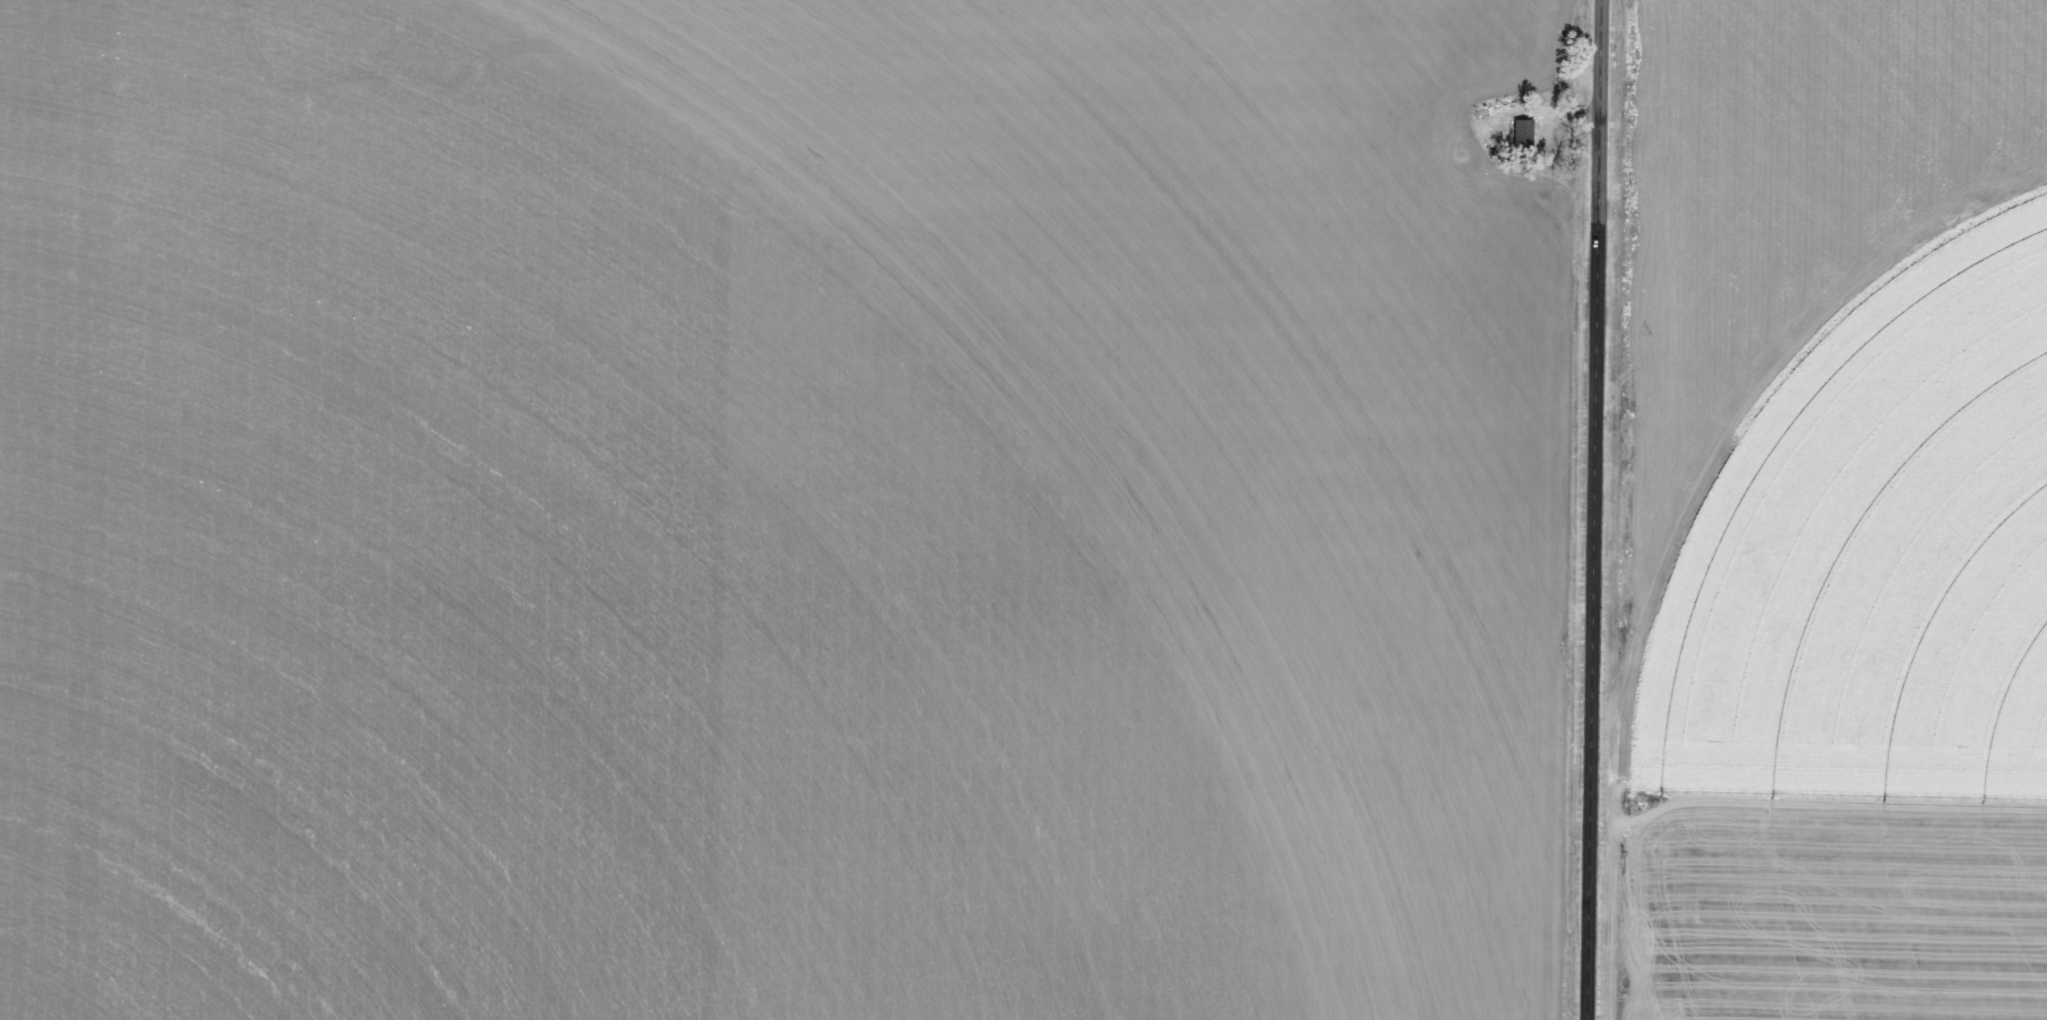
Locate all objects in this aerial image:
road: (1598, 510)

